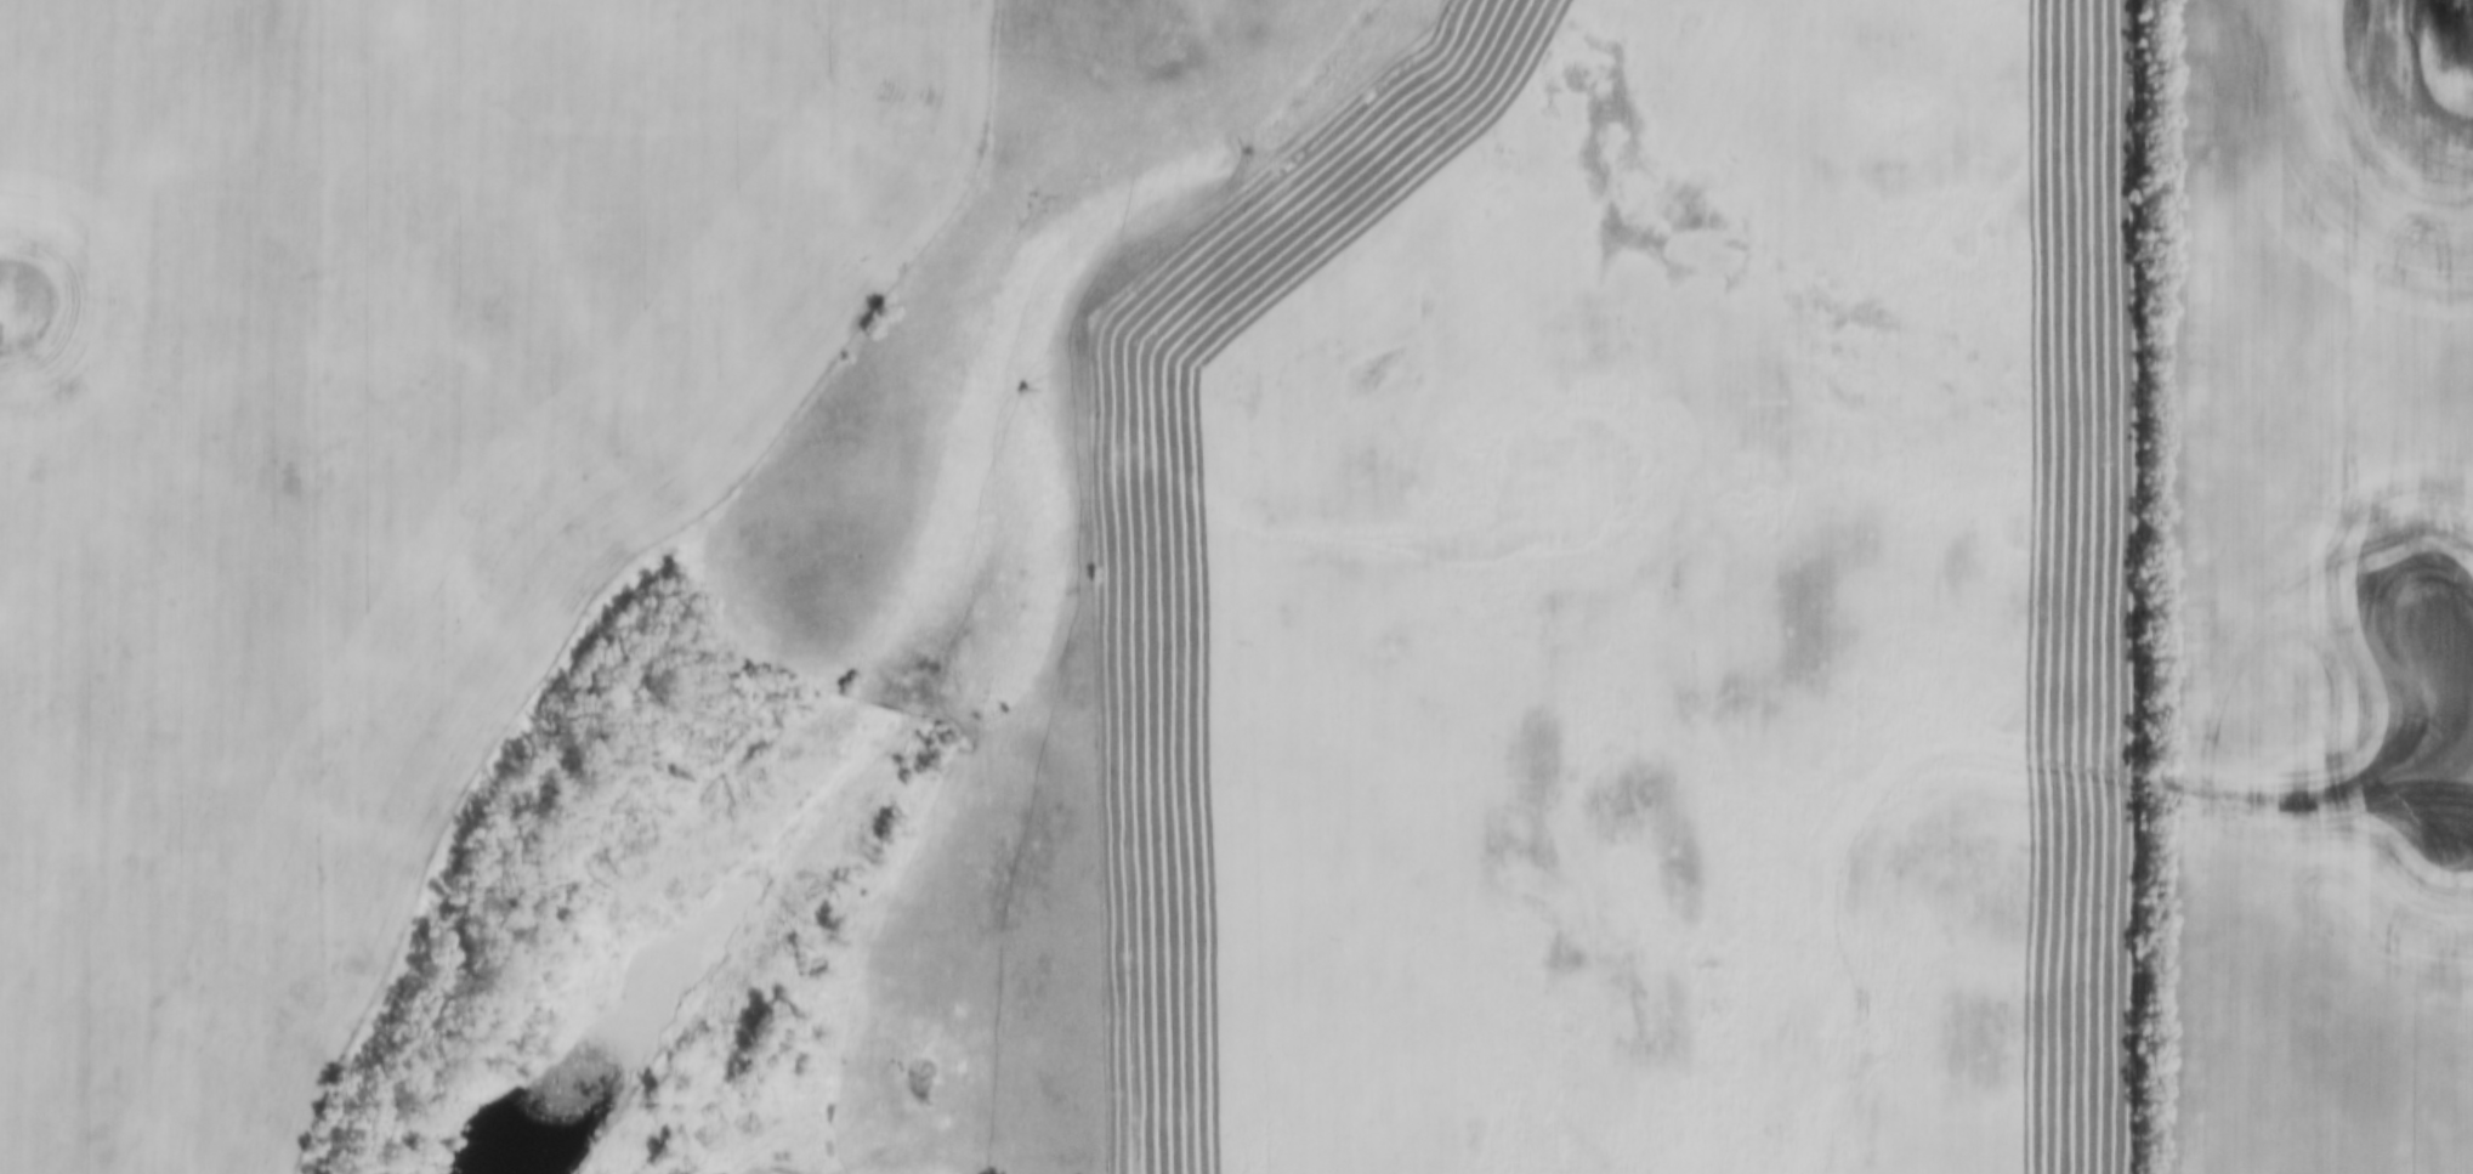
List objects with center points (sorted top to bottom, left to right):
road: (1072, 741)
building: (855, 1051)

